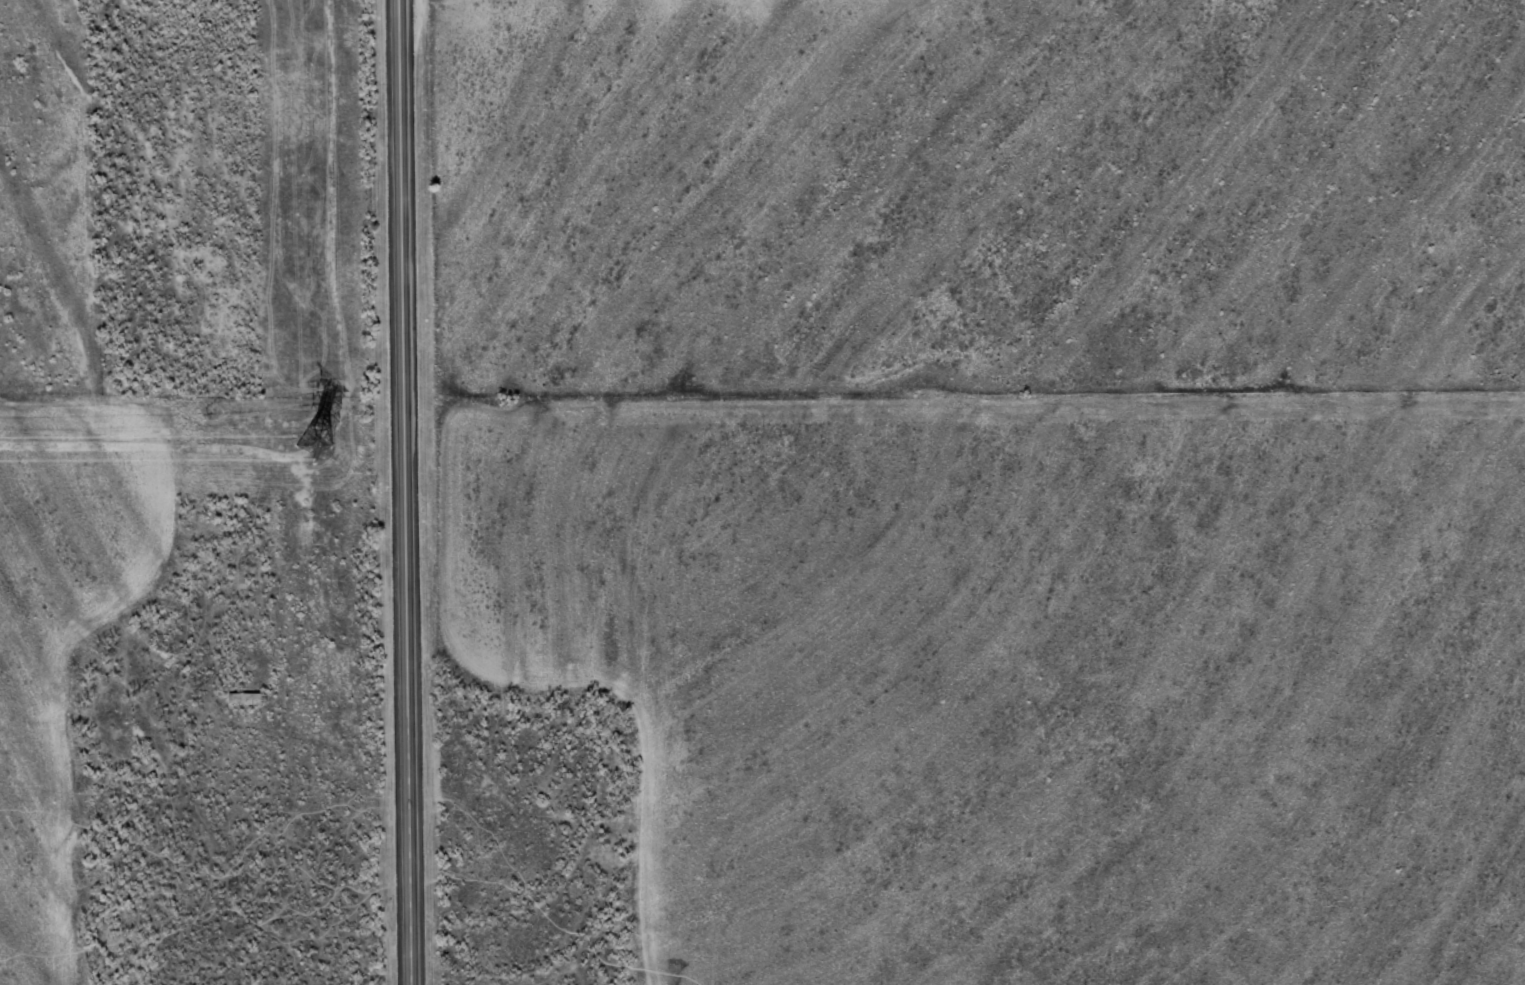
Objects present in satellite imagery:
road: (410, 4)
power tower: (313, 446)
road: (409, 492)

